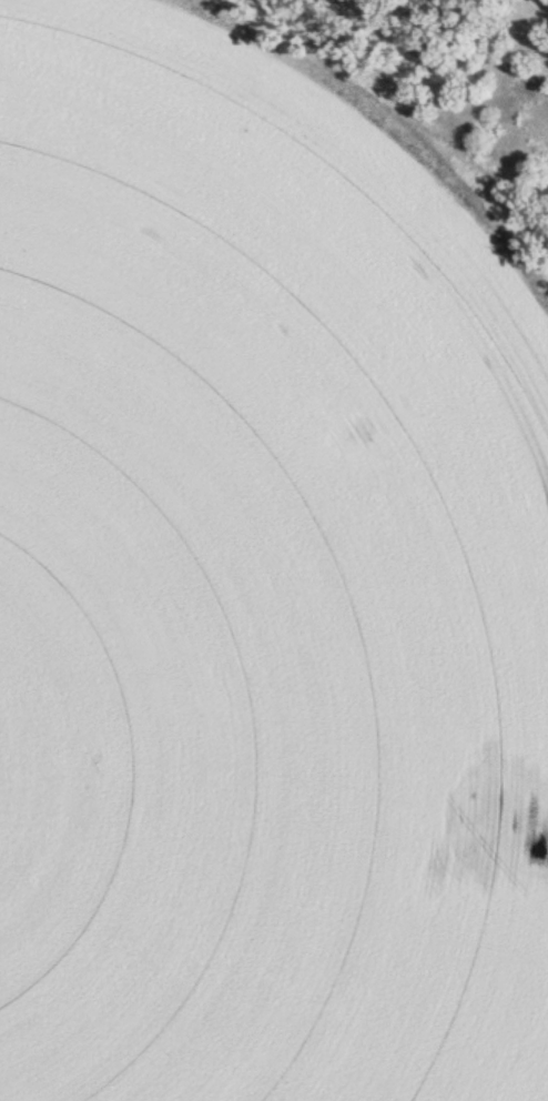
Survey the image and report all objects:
wastewater plant: (274, 550)

